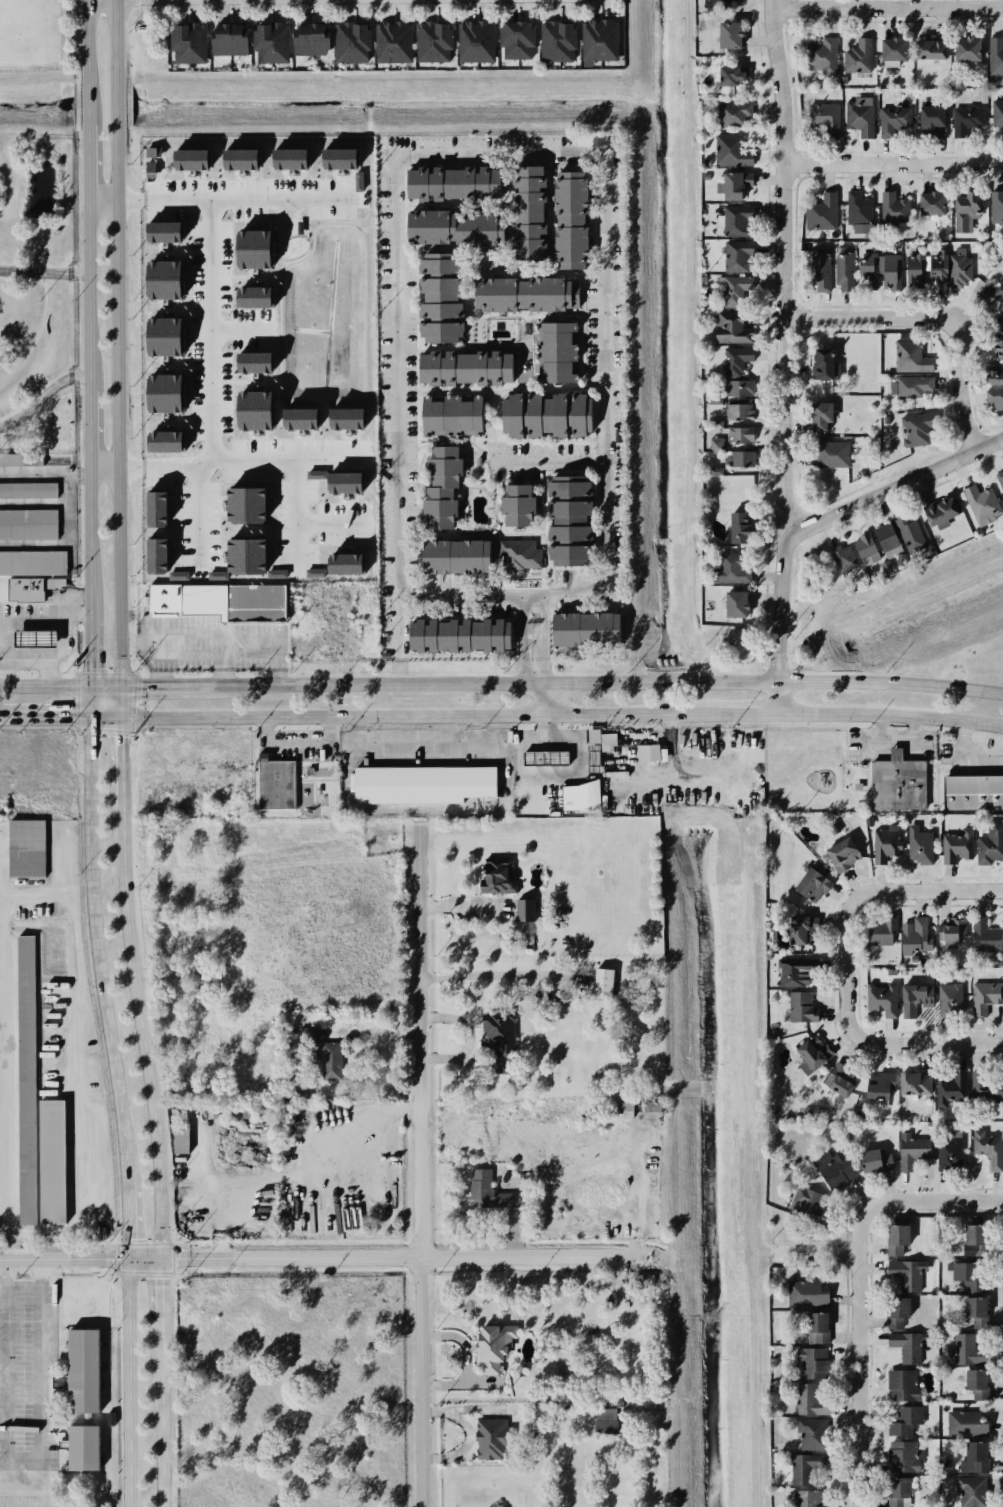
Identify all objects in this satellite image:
road: (342, 0)
road: (87, 1)
road: (205, 1)
road: (281, 1)
building: (718, 3)
road: (891, 6)
building: (727, 34)
building: (226, 38)
building: (515, 38)
building: (308, 39)
road: (116, 40)
building: (268, 40)
building: (349, 40)
building: (391, 40)
building: (555, 40)
building: (598, 40)
building: (474, 41)
road: (87, 42)
building: (184, 42)
building: (430, 42)
building: (969, 54)
building: (995, 54)
building: (822, 61)
building: (861, 64)
building: (896, 65)
building: (934, 66)
building: (731, 72)
road: (116, 102)
road: (87, 103)
building: (732, 113)
building: (996, 116)
building: (863, 119)
building: (828, 120)
building: (970, 124)
building: (896, 125)
building: (931, 126)
building: (727, 148)
road: (602, 152)
building: (191, 159)
building: (241, 159)
building: (290, 159)
building: (339, 159)
road: (87, 161)
road: (896, 162)
building: (453, 180)
building: (358, 181)
building: (732, 183)
road: (102, 196)
road: (274, 200)
building: (996, 206)
building: (934, 208)
building: (527, 212)
building: (895, 212)
building: (968, 215)
building: (858, 216)
building: (570, 218)
building: (822, 220)
building: (734, 222)
building: (453, 224)
building: (164, 232)
building: (910, 238)
building: (253, 249)
building: (737, 255)
road: (43, 270)
building: (915, 272)
building: (941, 272)
building: (871, 273)
building: (965, 273)
building: (893, 274)
building: (819, 275)
building: (846, 275)
building: (164, 280)
building: (734, 289)
road: (87, 292)
building: (991, 293)
building: (434, 294)
building: (523, 295)
building: (254, 297)
road: (871, 317)
building: (1000, 321)
building: (733, 332)
road: (212, 333)
building: (164, 336)
road: (783, 340)
building: (999, 349)
building: (556, 350)
building: (914, 359)
building: (254, 362)
building: (461, 362)
building: (738, 364)
building: (823, 365)
building: (839, 372)
building: (993, 373)
building: (916, 387)
road: (960, 388)
building: (739, 391)
building: (165, 393)
road: (42, 394)
building: (716, 397)
building: (994, 399)
road: (118, 405)
building: (254, 410)
building: (541, 413)
building: (446, 415)
building: (740, 416)
building: (300, 418)
building: (346, 418)
building: (821, 419)
road: (88, 425)
road: (986, 427)
park: (991, 427)
building: (922, 432)
building: (165, 441)
building: (735, 441)
road: (323, 450)
building: (832, 456)
building: (21, 460)
road: (550, 460)
road: (103, 462)
building: (743, 462)
road: (296, 465)
building: (316, 474)
building: (999, 477)
building: (345, 482)
building: (440, 485)
road: (894, 488)
building: (29, 490)
building: (980, 501)
building: (516, 504)
building: (247, 505)
building: (158, 509)
building: (937, 509)
road: (197, 511)
building: (568, 519)
building: (29, 524)
building: (733, 524)
road: (88, 530)
building: (908, 530)
building: (884, 539)
building: (518, 551)
building: (867, 551)
building: (455, 553)
building: (842, 555)
building: (158, 556)
building: (247, 556)
building: (34, 563)
building: (345, 563)
building: (727, 566)
building: (56, 583)
building: (23, 588)
building: (1, 589)
building: (160, 599)
building: (254, 602)
building: (731, 602)
road: (13, 619)
building: (581, 626)
building: (456, 631)
gas station: (30, 637)
building: (36, 638)
road: (397, 641)
road: (88, 642)
road: (538, 642)
road: (62, 643)
road: (184, 654)
road: (946, 655)
road: (39, 660)
road: (772, 681)
road: (60, 687)
traffic signals: (88, 687)
traffic signals: (120, 687)
road: (164, 687)
road: (375, 687)
road: (778, 697)
road: (120, 702)
road: (542, 703)
road: (890, 714)
road: (745, 715)
road: (51, 718)
traffic signals: (89, 718)
traffic signals: (120, 718)
road: (6, 719)
road: (400, 719)
road: (297, 740)
road: (415, 742)
building: (651, 753)
building: (541, 756)
building: (590, 758)
road: (120, 770)
building: (894, 780)
building: (418, 784)
building: (274, 785)
building: (970, 793)
building: (579, 797)
building: (990, 842)
building: (918, 844)
building: (956, 844)
building: (884, 845)
building: (26, 849)
building: (840, 853)
building: (493, 867)
building: (808, 884)
road: (897, 888)
building: (523, 909)
building: (951, 929)
road: (93, 930)
building: (792, 931)
building: (879, 931)
building: (913, 932)
building: (984, 935)
building: (793, 974)
building: (201, 976)
building: (598, 983)
building: (986, 996)
building: (880, 1000)
building: (948, 1001)
building: (917, 1003)
building: (798, 1007)
building: (307, 1034)
road: (142, 1040)
building: (498, 1041)
road: (896, 1042)
building: (812, 1050)
building: (343, 1057)
building: (837, 1078)
building: (983, 1080)
building: (878, 1086)
building: (951, 1087)
building: (913, 1088)
road: (85, 1102)
building: (622, 1108)
building: (34, 1113)
building: (181, 1138)
building: (985, 1147)
building: (910, 1149)
building: (947, 1149)
building: (871, 1160)
road: (426, 1168)
building: (833, 1171)
building: (489, 1191)
building: (805, 1199)
road: (915, 1200)
road: (126, 1215)
building: (976, 1235)
building: (896, 1239)
road: (11, 1246)
road: (822, 1251)
road: (406, 1256)
road: (79, 1259)
traffic signals: (128, 1259)
traffic signals: (159, 1259)
building: (905, 1273)
building: (967, 1275)
building: (643, 1280)
building: (806, 1294)
road: (159, 1304)
building: (893, 1311)
building: (976, 1311)
building: (817, 1328)
building: (493, 1345)
building: (906, 1346)
building: (968, 1346)
building: (816, 1361)
building: (79, 1370)
road: (865, 1379)
building: (973, 1380)
parking lot: (28, 1383)
road: (128, 1383)
building: (901, 1383)
building: (815, 1392)
building: (904, 1419)
building: (604, 1421)
building: (965, 1424)
road: (160, 1428)
building: (814, 1431)
building: (491, 1438)
building: (81, 1447)
building: (900, 1455)
building: (974, 1456)
road: (24, 1463)
building: (804, 1467)
building: (971, 1491)
building: (898, 1492)
building: (807, 1497)

